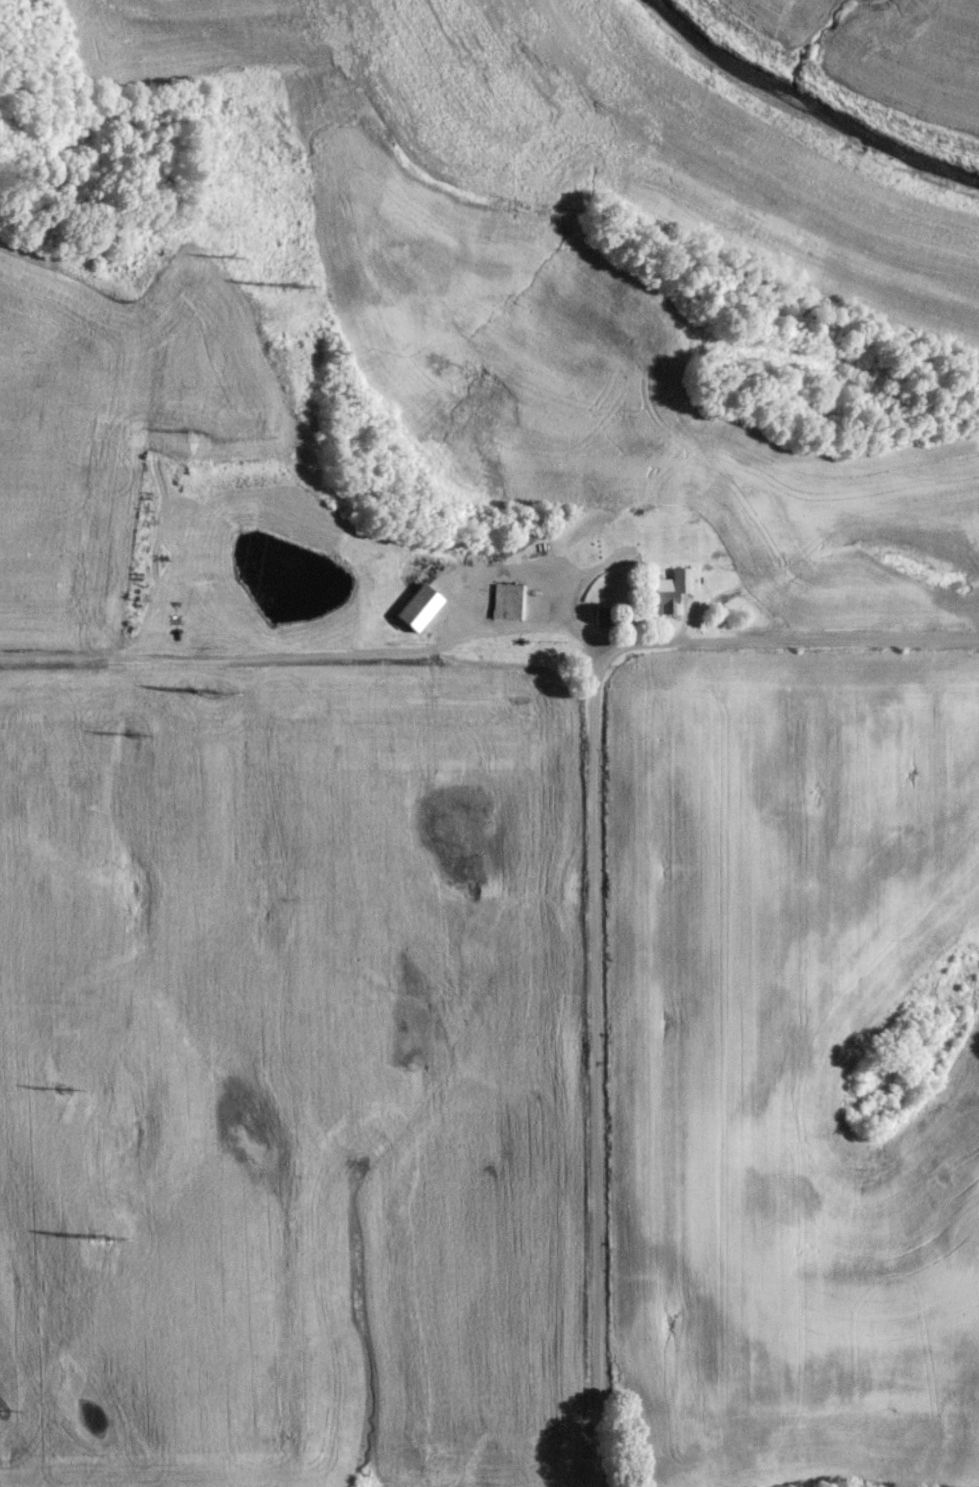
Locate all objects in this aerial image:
power tower: (286, 292)
road: (520, 572)
building: (675, 587)
building: (506, 607)
building: (667, 610)
building: (418, 613)
road: (578, 643)
road: (90, 665)
power tower: (204, 695)
road: (598, 1069)
power tower: (100, 1242)

